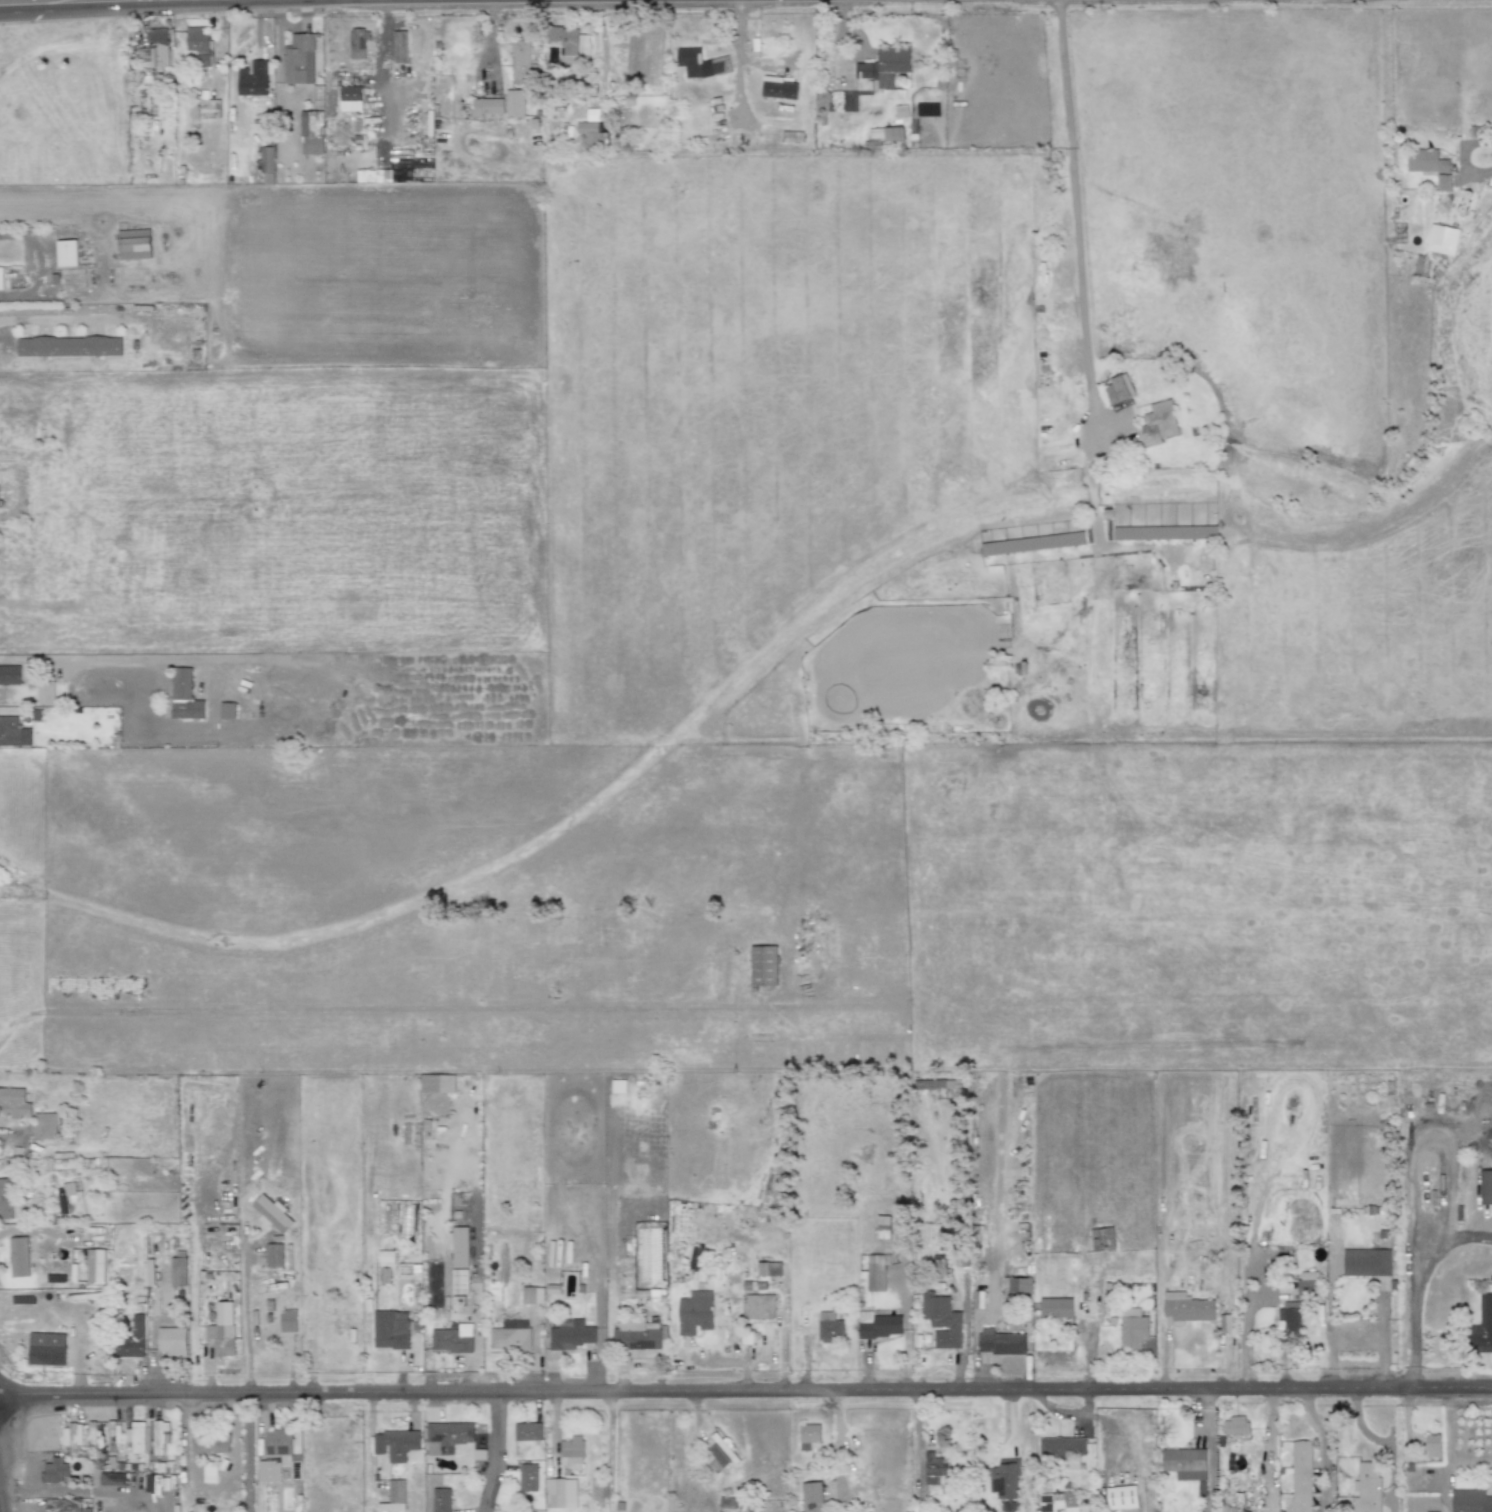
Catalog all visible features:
road: (71, 7)
building: (753, 28)
building: (197, 38)
building: (565, 39)
road: (838, 41)
building: (359, 42)
building: (399, 47)
road: (737, 49)
building: (155, 50)
building: (300, 59)
building: (522, 59)
building: (202, 60)
building: (703, 64)
building: (887, 64)
building: (252, 79)
building: (780, 88)
building: (352, 96)
building: (517, 101)
building: (211, 104)
building: (488, 107)
building: (190, 111)
building: (313, 132)
building: (591, 135)
building: (885, 136)
building: (267, 161)
building: (1426, 162)
building: (307, 180)
building: (1442, 182)
road: (1073, 213)
building: (1441, 240)
building: (135, 244)
building: (68, 252)
building: (13, 278)
building: (69, 347)
building: (1117, 389)
building: (1158, 424)
building: (1, 504)
road: (79, 659)
building: (11, 675)
building: (52, 692)
building: (184, 696)
building: (226, 711)
building: (108, 720)
building: (10, 732)
building: (763, 966)
road: (372, 1010)
building: (437, 1084)
building: (936, 1084)
building: (618, 1086)
building: (14, 1104)
building: (45, 1127)
building: (1485, 1187)
building: (70, 1189)
building: (5, 1200)
building: (271, 1214)
building: (884, 1228)
building: (1104, 1239)
building: (458, 1247)
building: (276, 1254)
building: (385, 1256)
building: (18, 1257)
building: (220, 1261)
building: (693, 1263)
building: (1368, 1263)
building: (95, 1266)
building: (939, 1269)
building: (763, 1270)
building: (777, 1270)
building: (179, 1273)
building: (877, 1273)
building: (129, 1277)
building: (461, 1282)
building: (517, 1282)
building: (1307, 1283)
building: (1019, 1285)
building: (758, 1286)
building: (939, 1286)
building: (983, 1289)
building: (530, 1292)
building: (139, 1293)
road: (1412, 1296)
building: (978, 1300)
building: (984, 1304)
building: (270, 1306)
building: (760, 1308)
building: (1055, 1308)
building: (1186, 1308)
building: (697, 1313)
building: (941, 1314)
building: (808, 1315)
building: (255, 1318)
building: (270, 1320)
building: (289, 1322)
building: (1225, 1323)
building: (1286, 1323)
building: (882, 1326)
road: (244, 1327)
building: (419, 1327)
building: (834, 1327)
building: (392, 1330)
building: (1136, 1332)
building: (573, 1336)
building: (637, 1337)
building: (513, 1338)
building: (223, 1340)
building: (454, 1340)
building: (1481, 1340)
building: (133, 1341)
building: (173, 1342)
building: (1003, 1343)
building: (46, 1349)
road: (746, 1392)
road: (1065, 1413)
building: (1238, 1427)
building: (527, 1432)
building: (811, 1434)
road: (1269, 1436)
building: (72, 1437)
building: (113, 1437)
building: (159, 1437)
building: (446, 1437)
building: (136, 1438)
building: (92, 1441)
road: (1380, 1443)
building: (1434, 1444)
building: (211, 1445)
building: (397, 1445)
building: (1062, 1449)
road: (1322, 1449)
building: (574, 1452)
road: (247, 1453)
road: (495, 1453)
building: (722, 1454)
building: (281, 1457)
building: (112, 1464)
building: (76, 1467)
building: (122, 1467)
building: (1188, 1467)
building: (937, 1468)
building: (55, 1471)
building: (209, 1472)
building: (527, 1477)
building: (116, 1479)
building: (1298, 1479)
building: (1006, 1482)
building: (167, 1483)
building: (152, 1484)
building: (562, 1488)
building: (1366, 1488)
building: (389, 1492)
building: (1253, 1492)
road: (63, 1494)
building: (1121, 1497)
building: (813, 1498)
building: (441, 1500)
building: (1471, 1501)
building: (1048, 1502)
building: (729, 1504)
building: (940, 1504)
building: (64, 1505)
building: (177, 1508)

